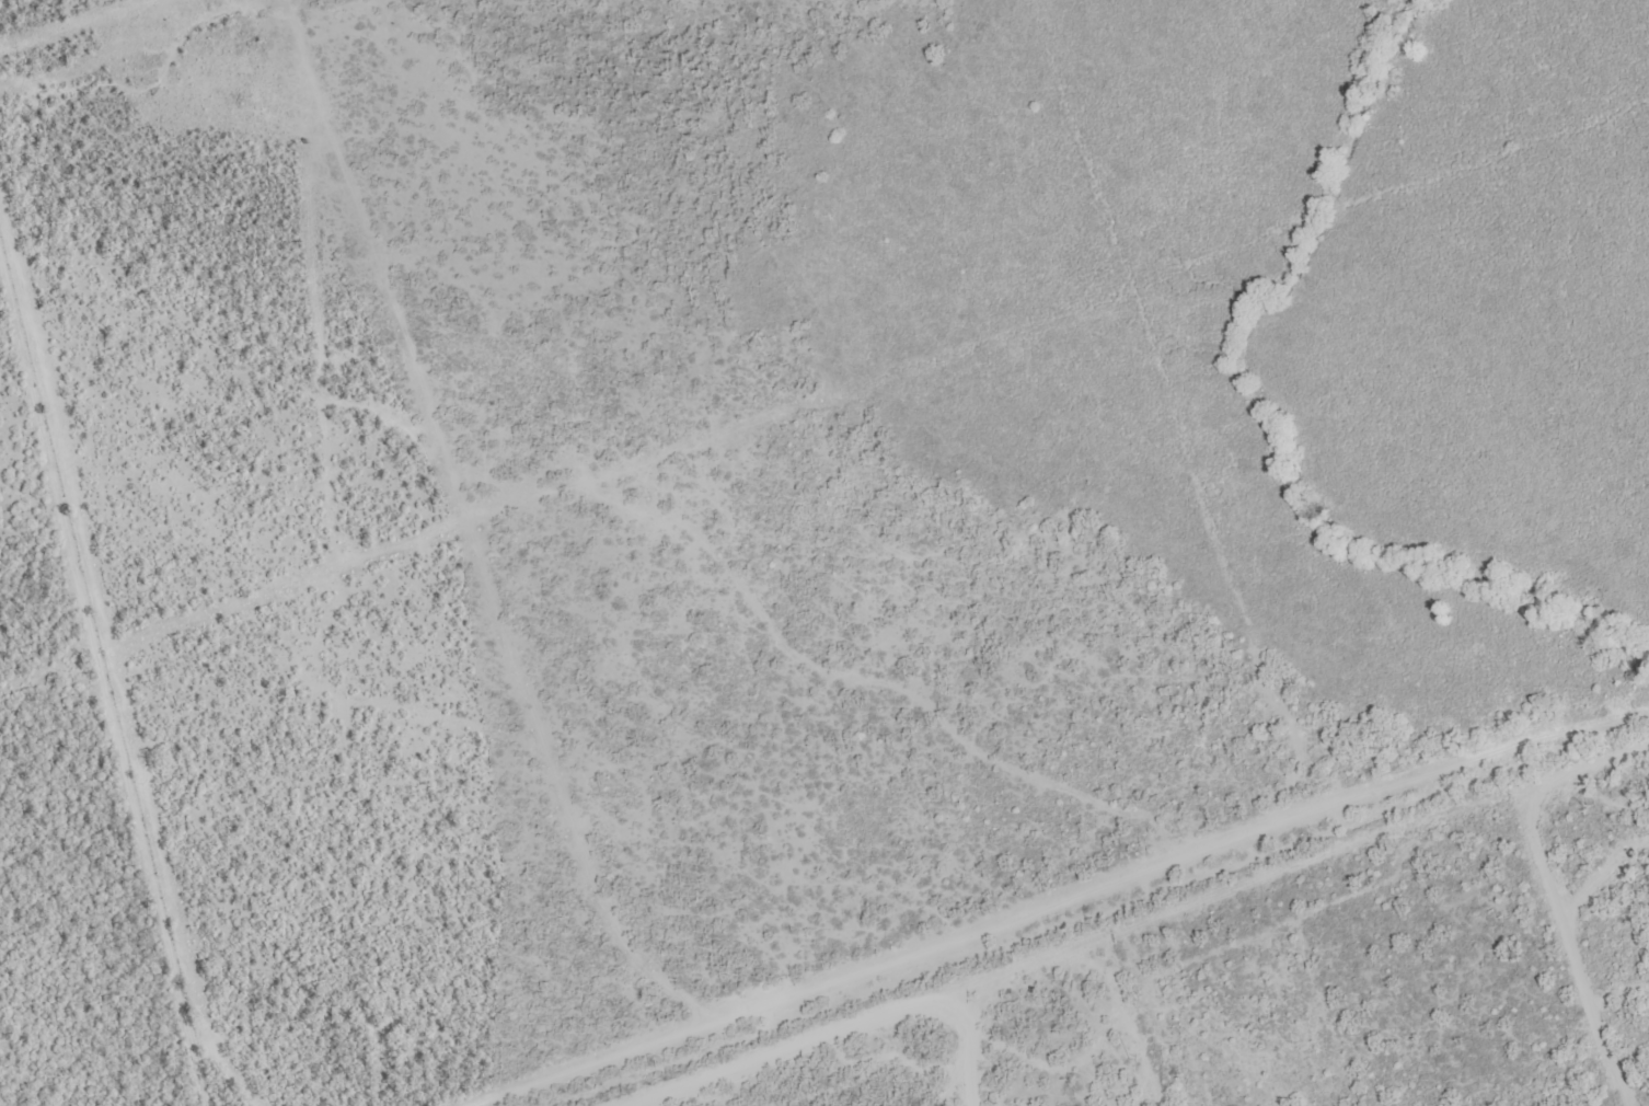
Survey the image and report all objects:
road: (1139, 924)

